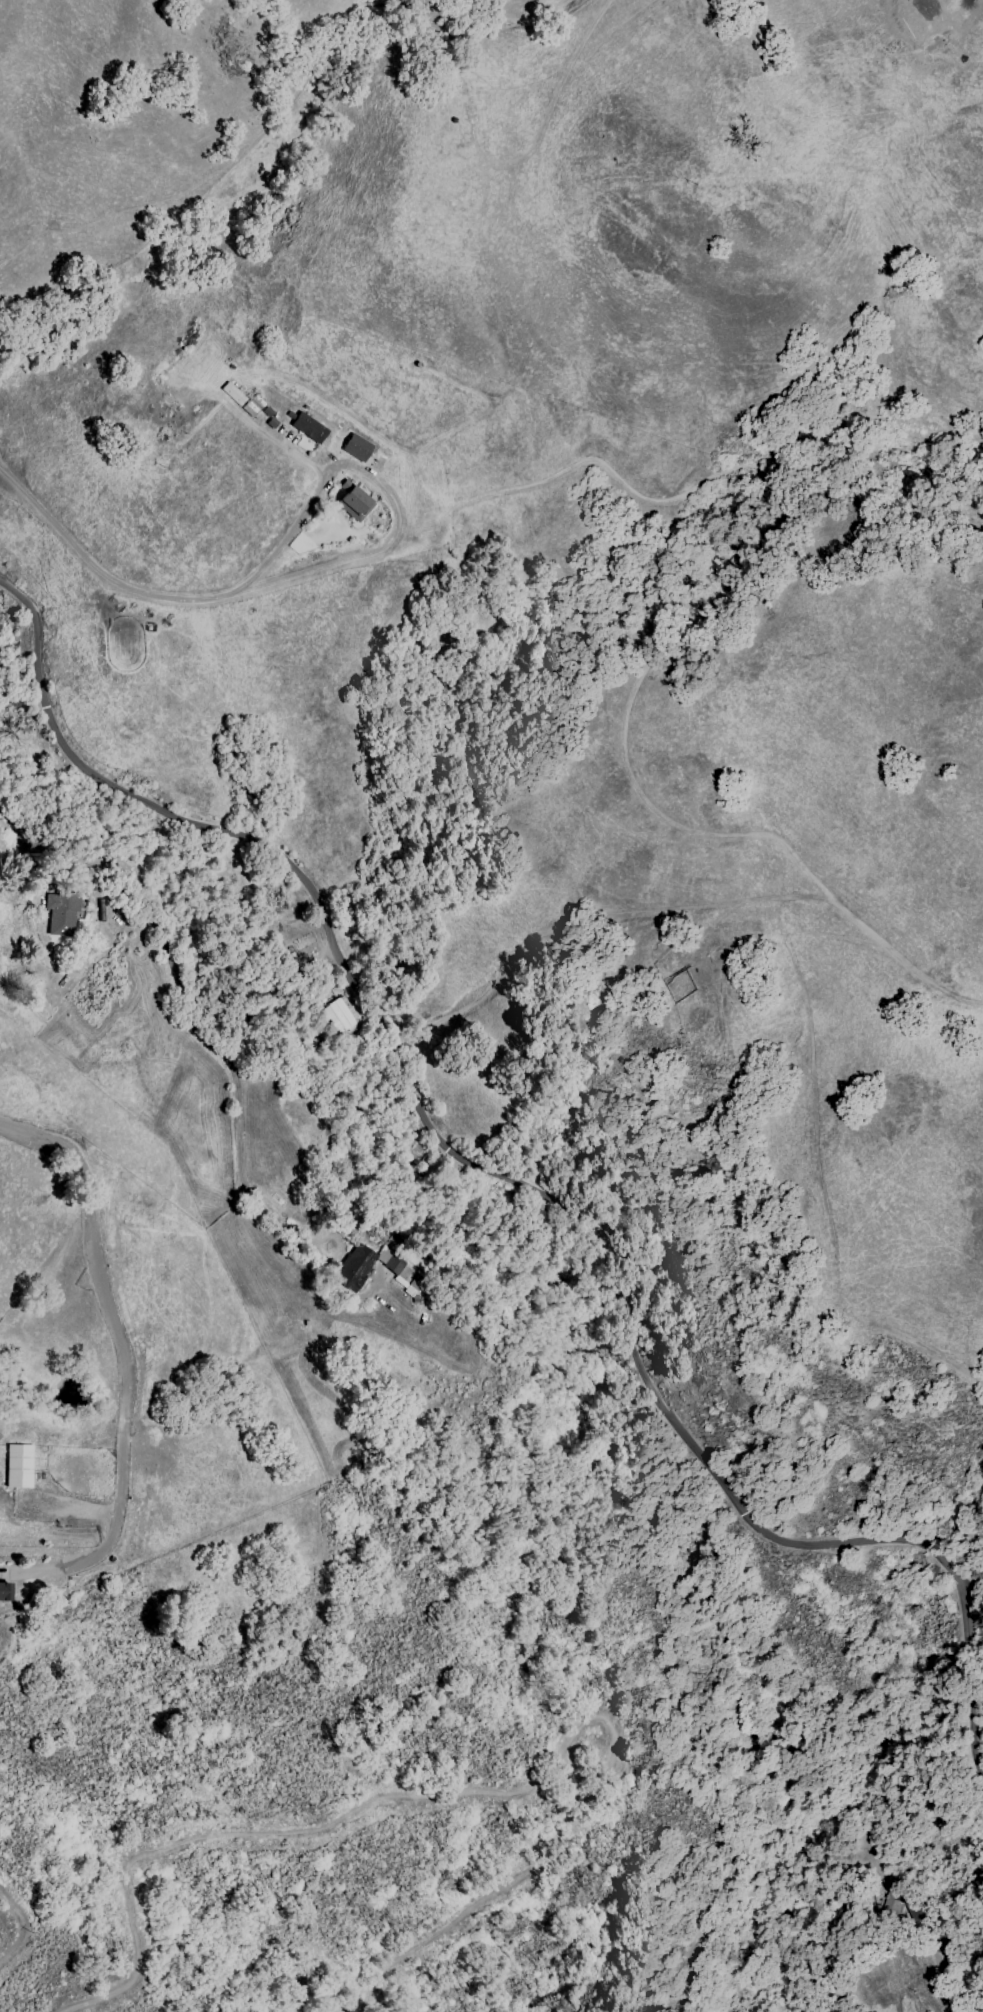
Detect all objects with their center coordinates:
building: (233, 394)
building: (252, 405)
building: (309, 428)
road: (267, 435)
building: (357, 448)
road: (381, 489)
building: (353, 501)
road: (98, 572)
building: (61, 913)
road: (187, 1013)
building: (340, 1013)
road: (531, 1185)
building: (354, 1267)
road: (124, 1366)
building: (18, 1466)
building: (4, 1592)
road: (976, 1705)
road: (482, 1792)
building: (903, 1906)
road: (22, 1928)
road: (938, 1979)

